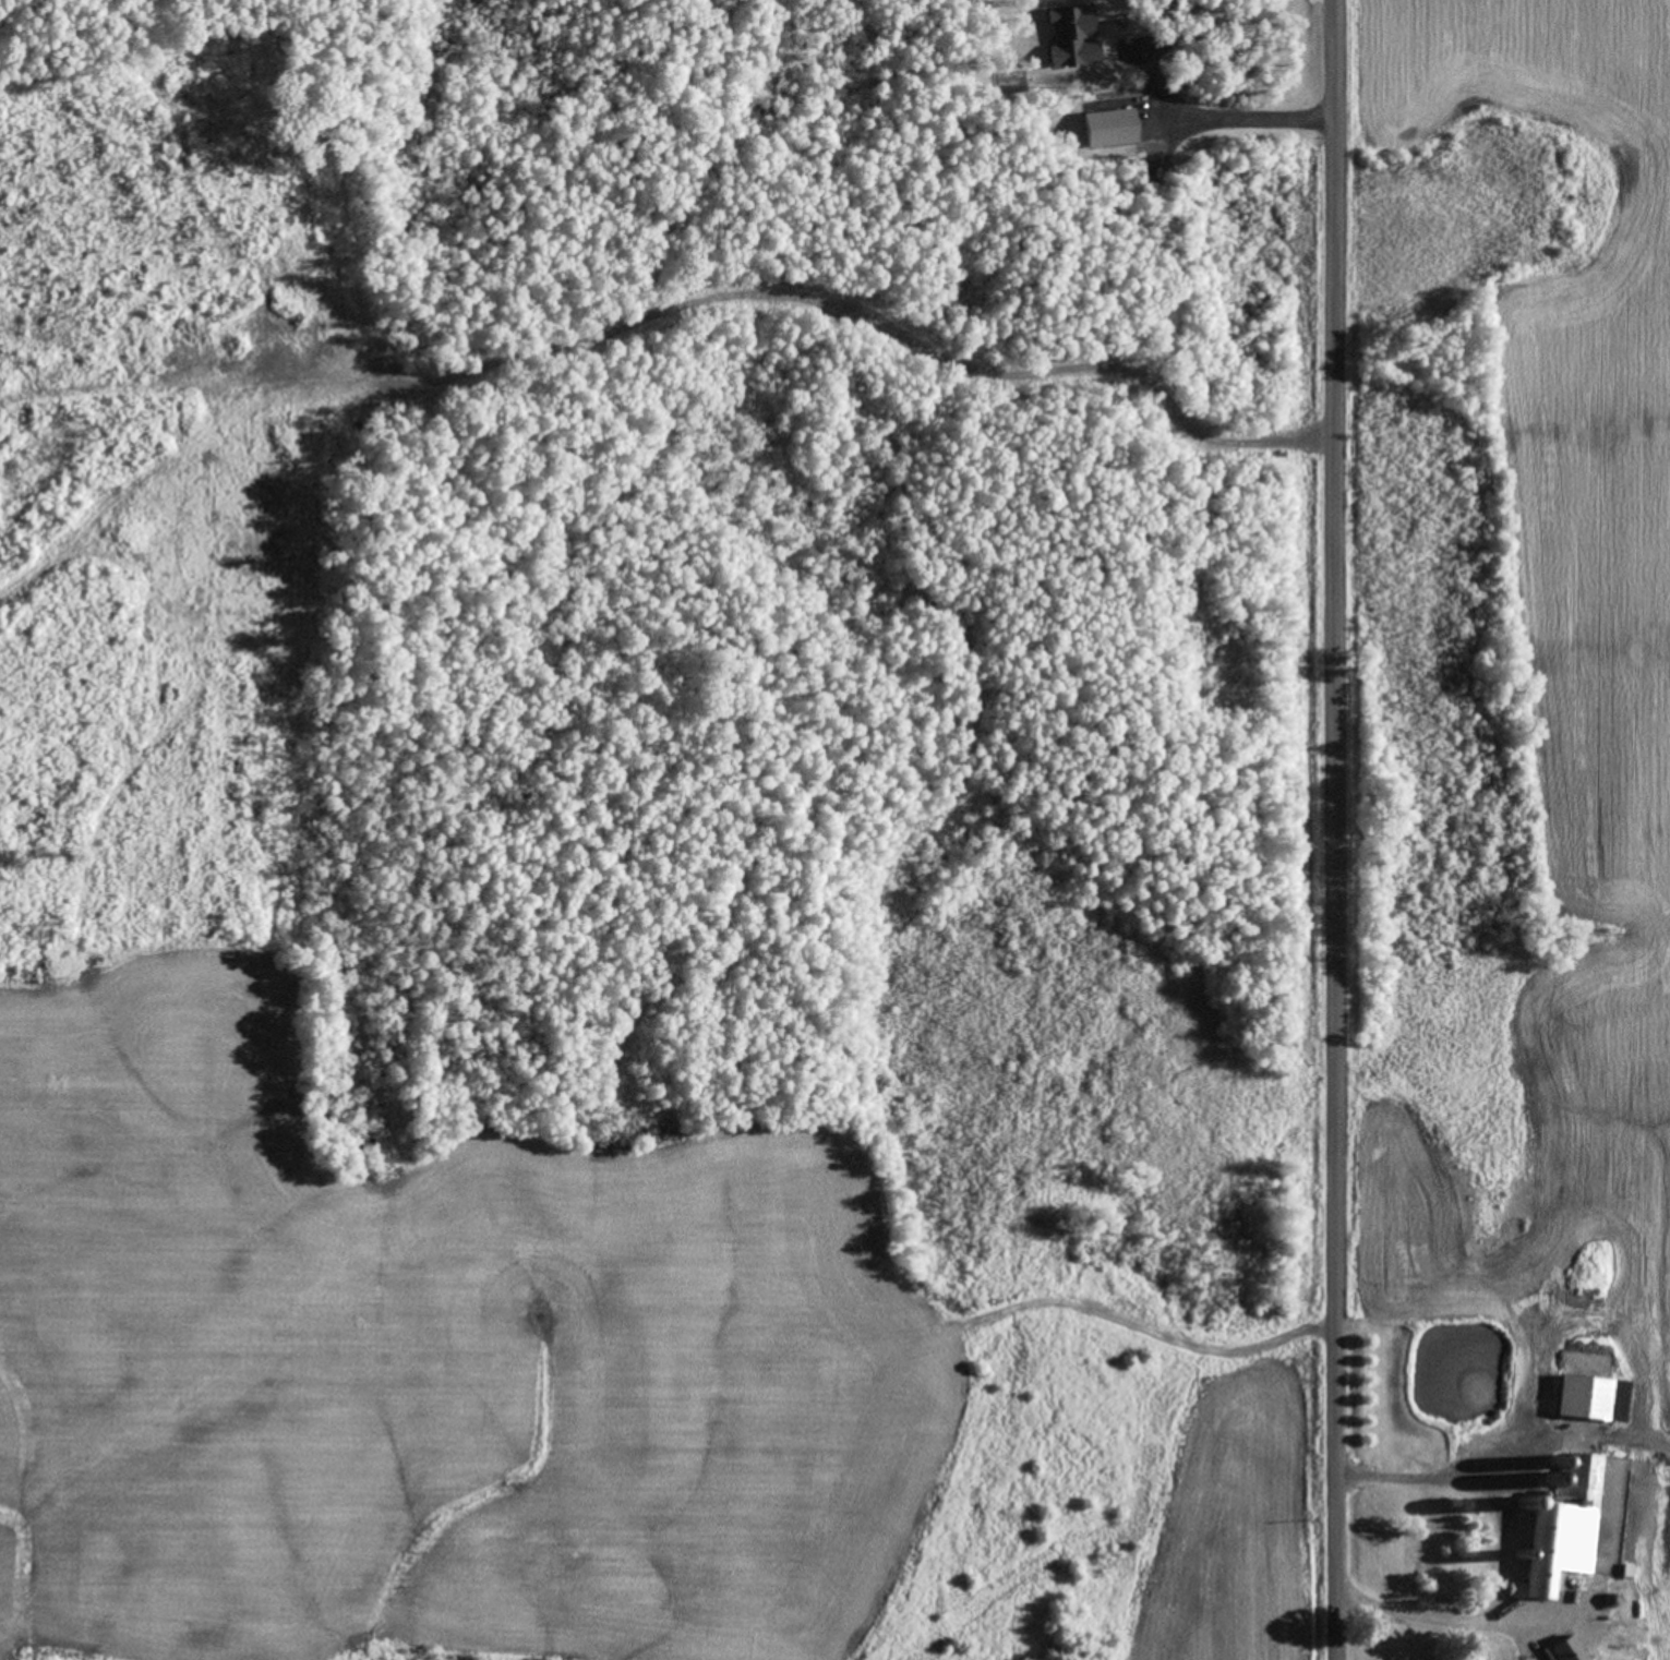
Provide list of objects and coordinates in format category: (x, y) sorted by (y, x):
road: (1326, 830)
building: (1576, 1399)
building: (1557, 1533)
building: (1560, 1650)

